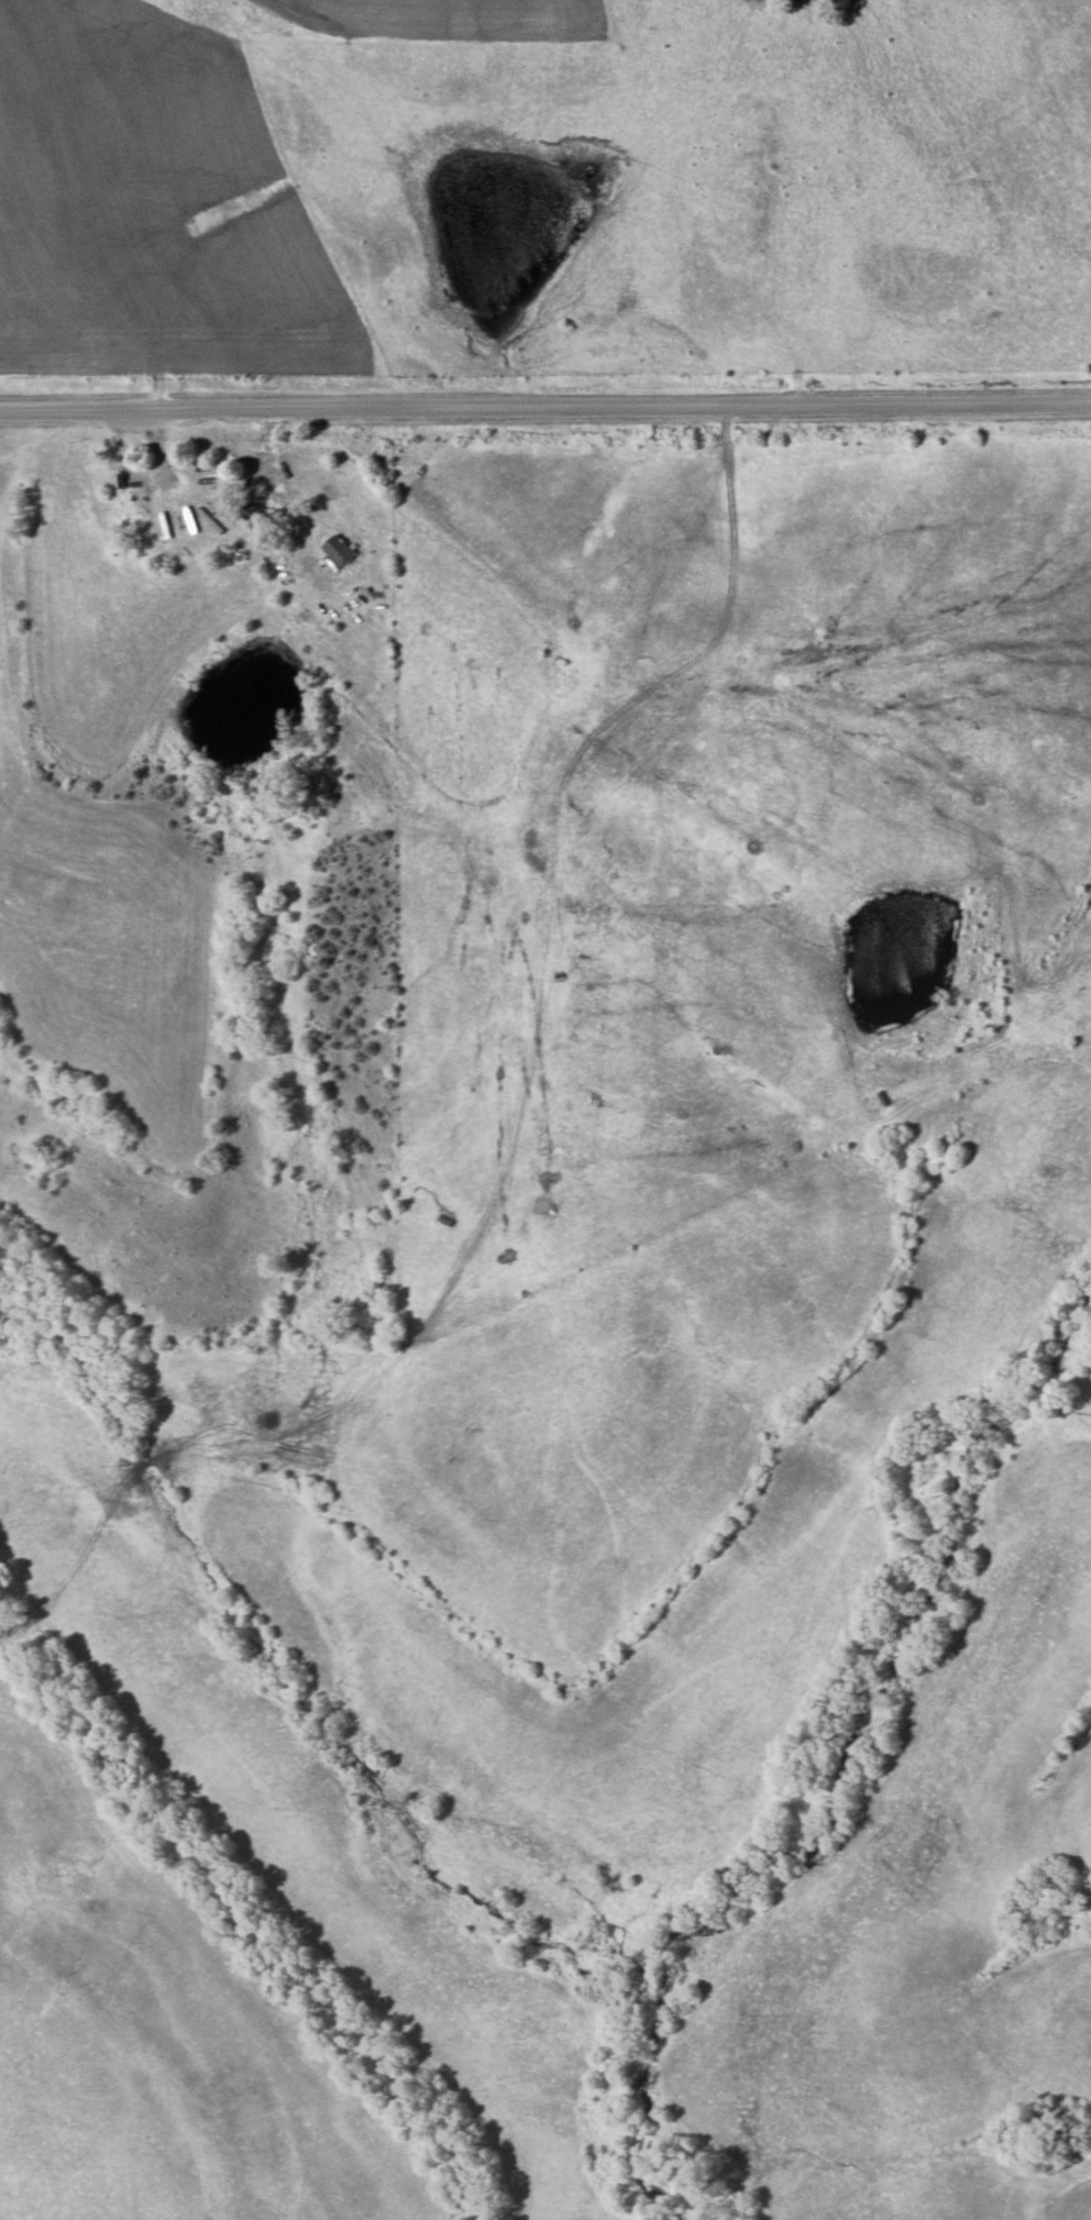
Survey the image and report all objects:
road: (544, 408)
road: (267, 472)
building: (246, 509)
building: (333, 550)

